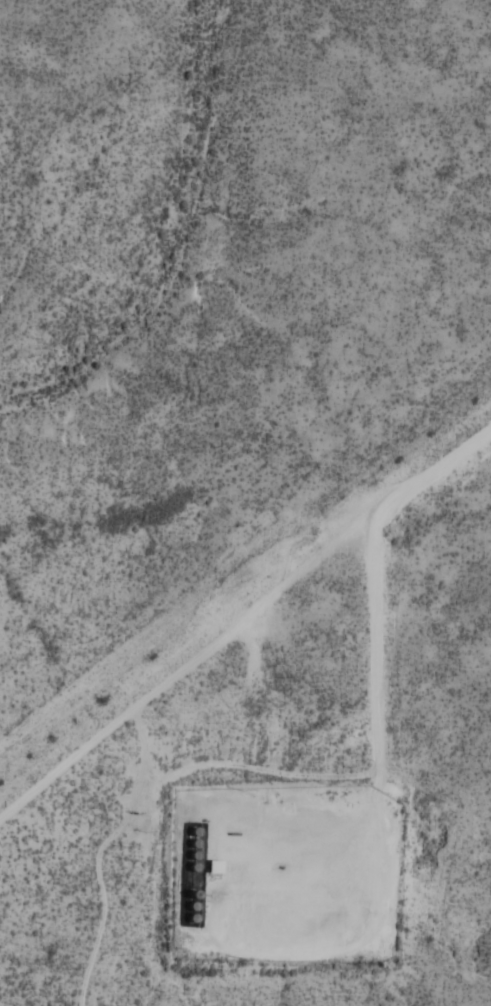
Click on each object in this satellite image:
road: (307, 560)
road: (377, 648)
road: (144, 775)

